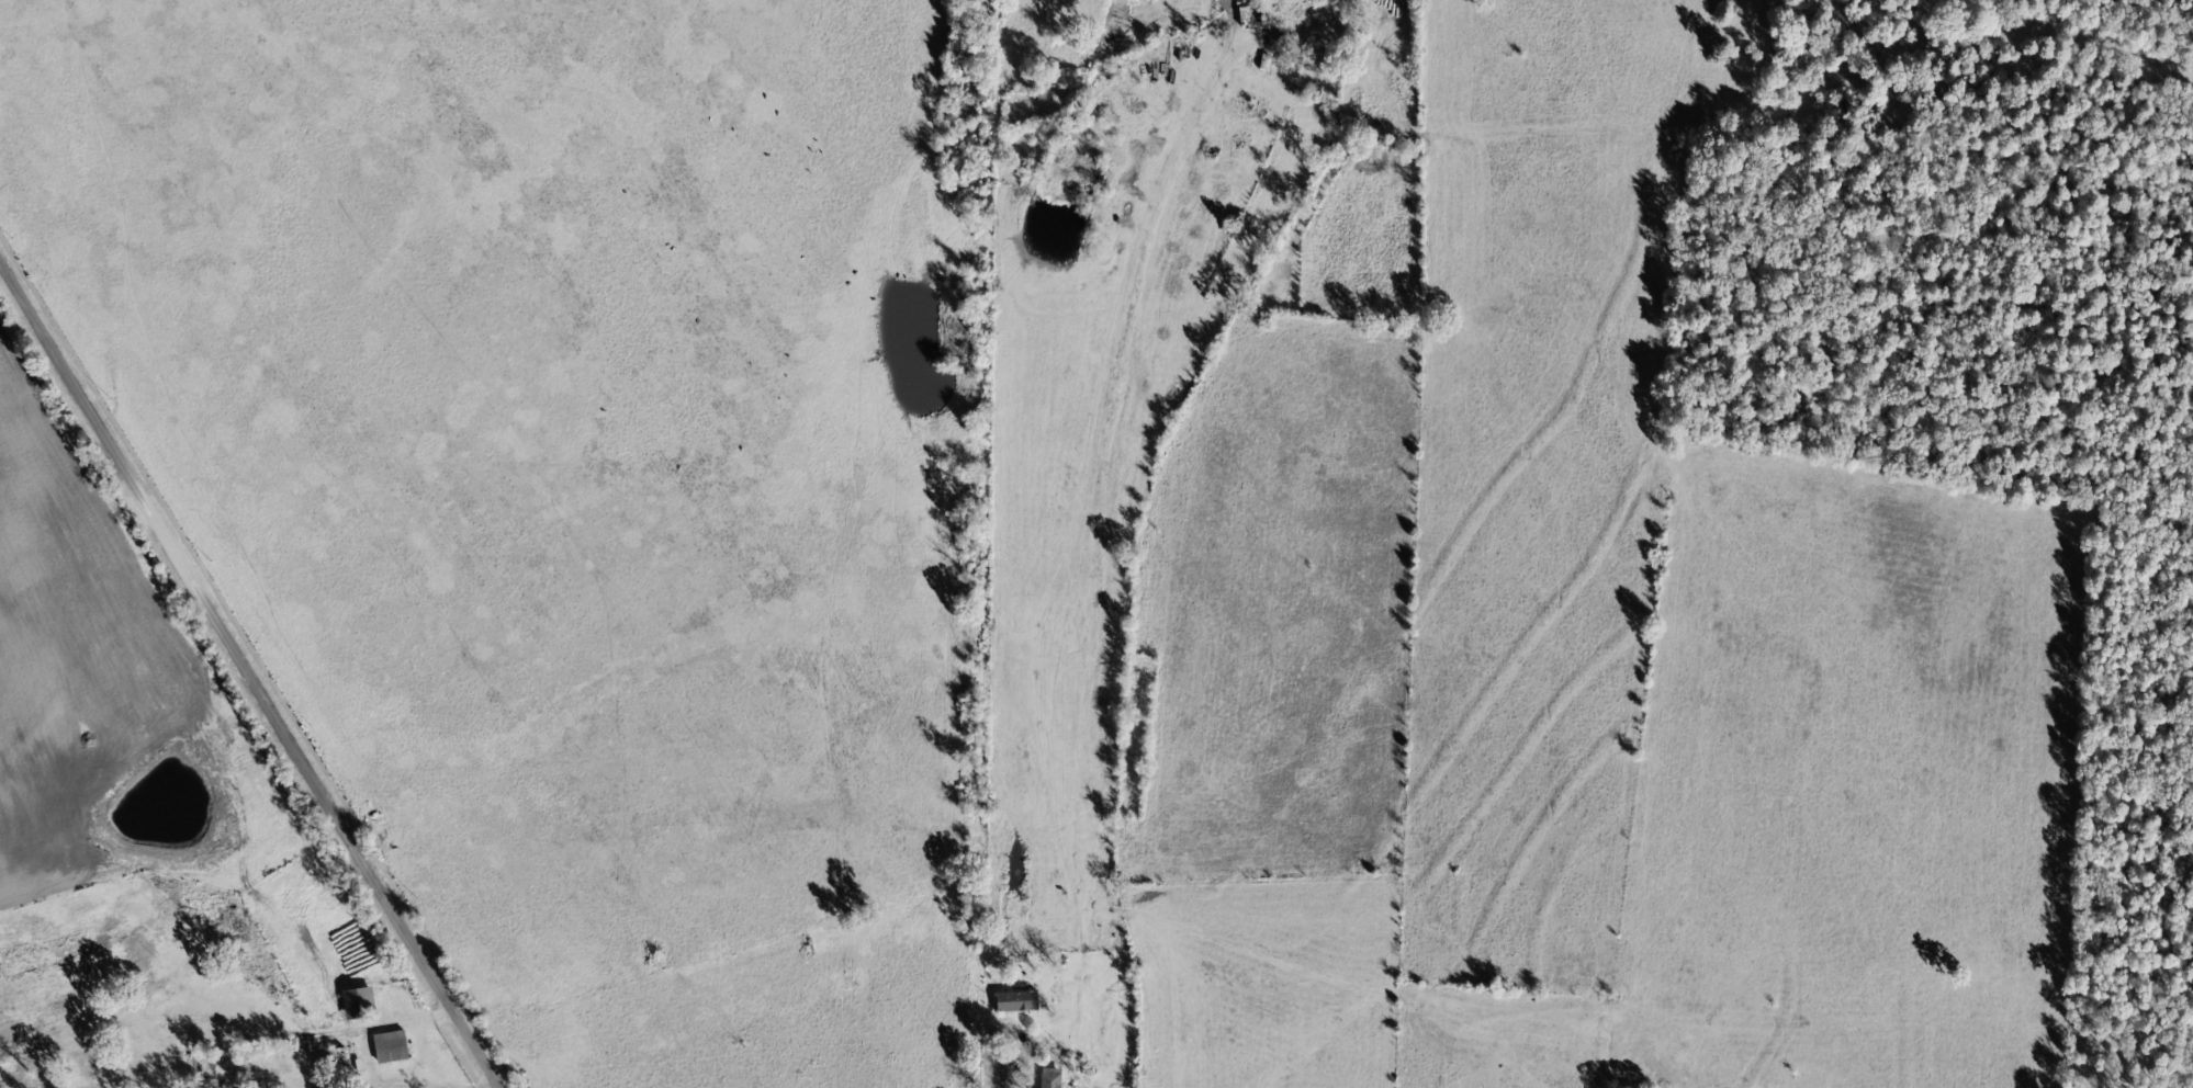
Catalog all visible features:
road: (1103, 409)
road: (233, 649)
building: (1020, 1002)
building: (361, 1005)
building: (393, 1049)
road: (482, 1061)
building: (1053, 1079)

